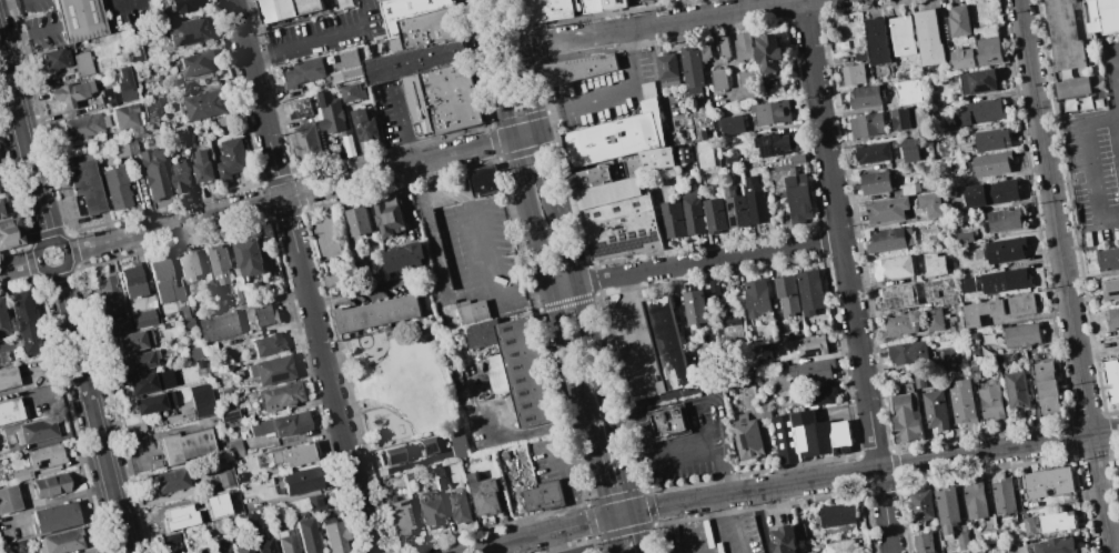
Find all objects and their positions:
building: (652, 0)
road: (16, 3)
road: (123, 3)
building: (613, 3)
building: (182, 4)
building: (591, 6)
building: (288, 9)
building: (548, 10)
building: (1102, 16)
building: (407, 17)
building: (84, 20)
building: (959, 20)
road: (659, 24)
building: (431, 29)
building: (185, 30)
road: (27, 34)
building: (1063, 34)
road: (500, 36)
building: (903, 36)
building: (928, 37)
road: (304, 41)
building: (876, 41)
building: (723, 47)
building: (743, 47)
building: (705, 50)
building: (988, 50)
building: (767, 53)
building: (860, 56)
road: (520, 57)
road: (1118, 57)
building: (54, 58)
building: (961, 58)
building: (82, 62)
building: (198, 62)
building: (417, 62)
building: (347, 66)
building: (579, 68)
road: (493, 70)
building: (667, 70)
building: (692, 70)
building: (303, 72)
building: (853, 74)
building: (748, 77)
building: (719, 80)
building: (978, 81)
building: (123, 83)
building: (410, 86)
building: (1071, 87)
building: (351, 92)
building: (908, 92)
building: (71, 93)
road: (609, 93)
building: (864, 97)
building: (107, 98)
building: (453, 99)
building: (204, 104)
building: (300, 108)
building: (152, 109)
building: (330, 112)
building: (770, 112)
building: (980, 112)
building: (128, 119)
building: (900, 119)
building: (920, 120)
road: (537, 123)
building: (730, 123)
building: (866, 124)
building: (84, 125)
building: (365, 125)
traffic signals: (540, 132)
road: (407, 134)
building: (616, 134)
building: (702, 134)
road: (525, 135)
building: (991, 139)
traffic signals: (512, 140)
building: (308, 142)
building: (346, 142)
road: (24, 143)
building: (773, 143)
building: (965, 148)
building: (120, 149)
building: (909, 150)
building: (873, 152)
building: (683, 154)
building: (704, 154)
building: (231, 158)
building: (656, 158)
building: (730, 159)
building: (797, 159)
parking lot: (1097, 160)
building: (991, 163)
road: (547, 165)
building: (633, 167)
building: (202, 168)
road: (1090, 168)
building: (154, 172)
building: (181, 177)
building: (593, 177)
building: (875, 182)
building: (84, 184)
building: (115, 188)
building: (909, 188)
building: (607, 192)
building: (793, 192)
building: (991, 193)
road: (289, 195)
building: (755, 199)
building: (929, 203)
building: (1, 207)
building: (735, 208)
building: (616, 209)
building: (886, 209)
building: (692, 212)
building: (0, 213)
road: (530, 213)
building: (714, 214)
building: (389, 215)
road: (1109, 217)
building: (672, 219)
building: (1005, 219)
building: (357, 221)
building: (10, 231)
building: (329, 235)
building: (623, 235)
building: (964, 237)
building: (890, 239)
road: (566, 241)
building: (470, 245)
rooftop solar panel: (623, 247)
road: (65, 249)
building: (1004, 250)
building: (249, 257)
building: (403, 257)
building: (1107, 259)
road: (708, 261)
road: (19, 263)
building: (219, 263)
building: (935, 264)
building: (189, 265)
building: (893, 267)
road: (302, 276)
road: (845, 276)
road: (1063, 276)
building: (335, 280)
building: (1005, 280)
building: (132, 281)
building: (239, 282)
building: (167, 284)
building: (967, 284)
road: (563, 285)
building: (713, 289)
building: (940, 290)
building: (1110, 290)
building: (809, 291)
building: (109, 292)
road: (360, 292)
building: (786, 294)
building: (241, 295)
building: (897, 295)
building: (755, 298)
building: (1020, 304)
building: (694, 306)
building: (980, 311)
building: (376, 313)
building: (266, 315)
building: (143, 318)
building: (1112, 318)
building: (730, 320)
building: (934, 320)
building: (27, 321)
building: (2, 322)
building: (186, 322)
building: (901, 322)
building: (955, 324)
building: (120, 326)
building: (219, 326)
building: (1021, 334)
building: (971, 336)
building: (133, 340)
building: (665, 341)
road: (6, 342)
building: (269, 344)
building: (802, 348)
building: (907, 352)
building: (974, 352)
building: (193, 353)
road: (565, 354)
building: (949, 355)
building: (138, 361)
building: (271, 370)
building: (810, 370)
building: (524, 371)
rooftop solar panel: (280, 375)
building: (8, 378)
rooftop solar panel: (271, 378)
building: (1111, 379)
building: (918, 381)
building: (150, 382)
park: (405, 384)
building: (780, 385)
building: (1046, 389)
building: (225, 390)
building: (1016, 390)
building: (279, 395)
road: (606, 395)
building: (818, 395)
road: (685, 398)
building: (201, 400)
building: (989, 400)
building: (961, 401)
building: (153, 402)
building: (934, 410)
building: (12, 411)
road: (93, 411)
building: (765, 411)
building: (188, 413)
rooftop solar panel: (229, 416)
building: (905, 416)
building: (229, 418)
building: (666, 421)
building: (282, 424)
building: (37, 431)
building: (807, 436)
road: (504, 438)
building: (746, 438)
building: (458, 442)
building: (184, 445)
building: (429, 445)
road: (698, 446)
building: (235, 448)
rooftop solar panel: (432, 449)
building: (291, 454)
building: (393, 455)
building: (48, 456)
rooftop solar panel: (394, 458)
road: (595, 469)
building: (22, 474)
building: (438, 476)
building: (222, 479)
building: (169, 480)
building: (301, 480)
building: (1048, 482)
road: (790, 483)
building: (52, 485)
building: (484, 494)
building: (543, 495)
building: (1002, 496)
building: (9, 499)
building: (975, 500)
building: (315, 502)
building: (920, 505)
building: (458, 506)
building: (429, 509)
building: (178, 510)
traffic signals: (636, 511)
building: (947, 511)
building: (836, 514)
building: (57, 516)
building: (399, 516)
traffic signals: (608, 517)
building: (250, 519)
building: (1056, 521)
road: (732, 523)
building: (1028, 525)
road: (687, 527)
building: (917, 527)
building: (800, 531)
building: (1016, 531)
road: (641, 532)
road: (613, 534)
building: (306, 535)
building: (333, 535)
parking lot: (715, 535)
building: (784, 540)
building: (286, 541)
building: (63, 542)
building: (961, 542)
building: (923, 543)
building: (264, 545)
building: (1055, 545)
building: (840, 546)
building: (220, 547)
building: (243, 547)
building: (177, 551)
building: (201, 551)
building: (810, 552)

